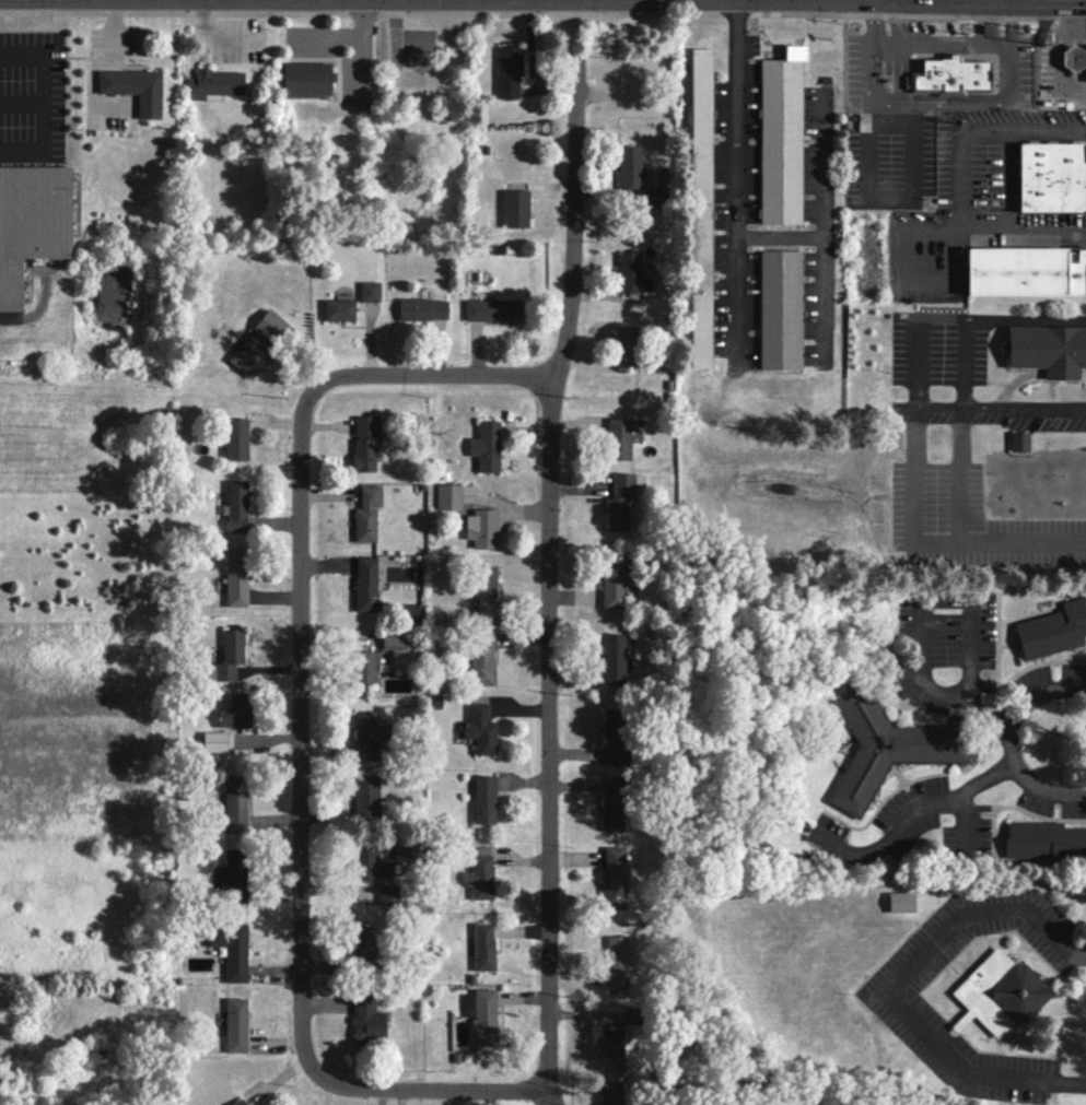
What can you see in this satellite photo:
road: (929, 43)
road: (1054, 54)
building: (1076, 60)
building: (507, 72)
building: (1084, 74)
building: (305, 79)
building: (955, 79)
building: (212, 83)
building: (133, 89)
road: (943, 104)
building: (782, 143)
building: (628, 166)
road: (821, 167)
road: (958, 179)
road: (734, 180)
building: (1054, 181)
road: (1005, 183)
road: (573, 188)
building: (655, 197)
road: (889, 198)
building: (514, 209)
building: (701, 212)
building: (31, 222)
road: (929, 232)
road: (822, 252)
building: (630, 274)
road: (944, 277)
building: (1028, 278)
building: (367, 291)
building: (421, 308)
building: (337, 309)
building: (491, 309)
building: (782, 314)
building: (270, 327)
building: (626, 345)
building: (1047, 349)
building: (248, 357)
road: (915, 364)
building: (234, 438)
building: (617, 438)
building: (1017, 440)
building: (363, 442)
building: (484, 446)
building: (446, 496)
building: (618, 501)
building: (234, 506)
building: (364, 513)
building: (480, 528)
road: (933, 544)
building: (235, 576)
building: (612, 581)
building: (363, 585)
building: (482, 589)
building: (409, 614)
road: (922, 622)
building: (1052, 630)
building: (392, 639)
road: (968, 648)
building: (226, 656)
building: (479, 657)
building: (612, 659)
building: (362, 666)
road: (1070, 686)
road: (978, 704)
building: (235, 712)
building: (479, 729)
building: (367, 731)
road: (301, 734)
road: (547, 734)
building: (615, 734)
building: (212, 741)
building: (877, 747)
road: (1015, 766)
road: (1070, 794)
building: (365, 798)
building: (482, 799)
building: (234, 803)
building: (615, 806)
road: (911, 813)
road: (966, 822)
building: (1042, 840)
building: (369, 865)
building: (480, 873)
building: (233, 877)
building: (612, 877)
building: (386, 894)
building: (480, 945)
building: (363, 948)
building: (230, 949)
building: (617, 961)
road: (895, 984)
building: (999, 992)
building: (482, 1016)
building: (365, 1020)
building: (234, 1024)
building: (610, 1038)
building: (610, 1093)
building: (238, 1102)

